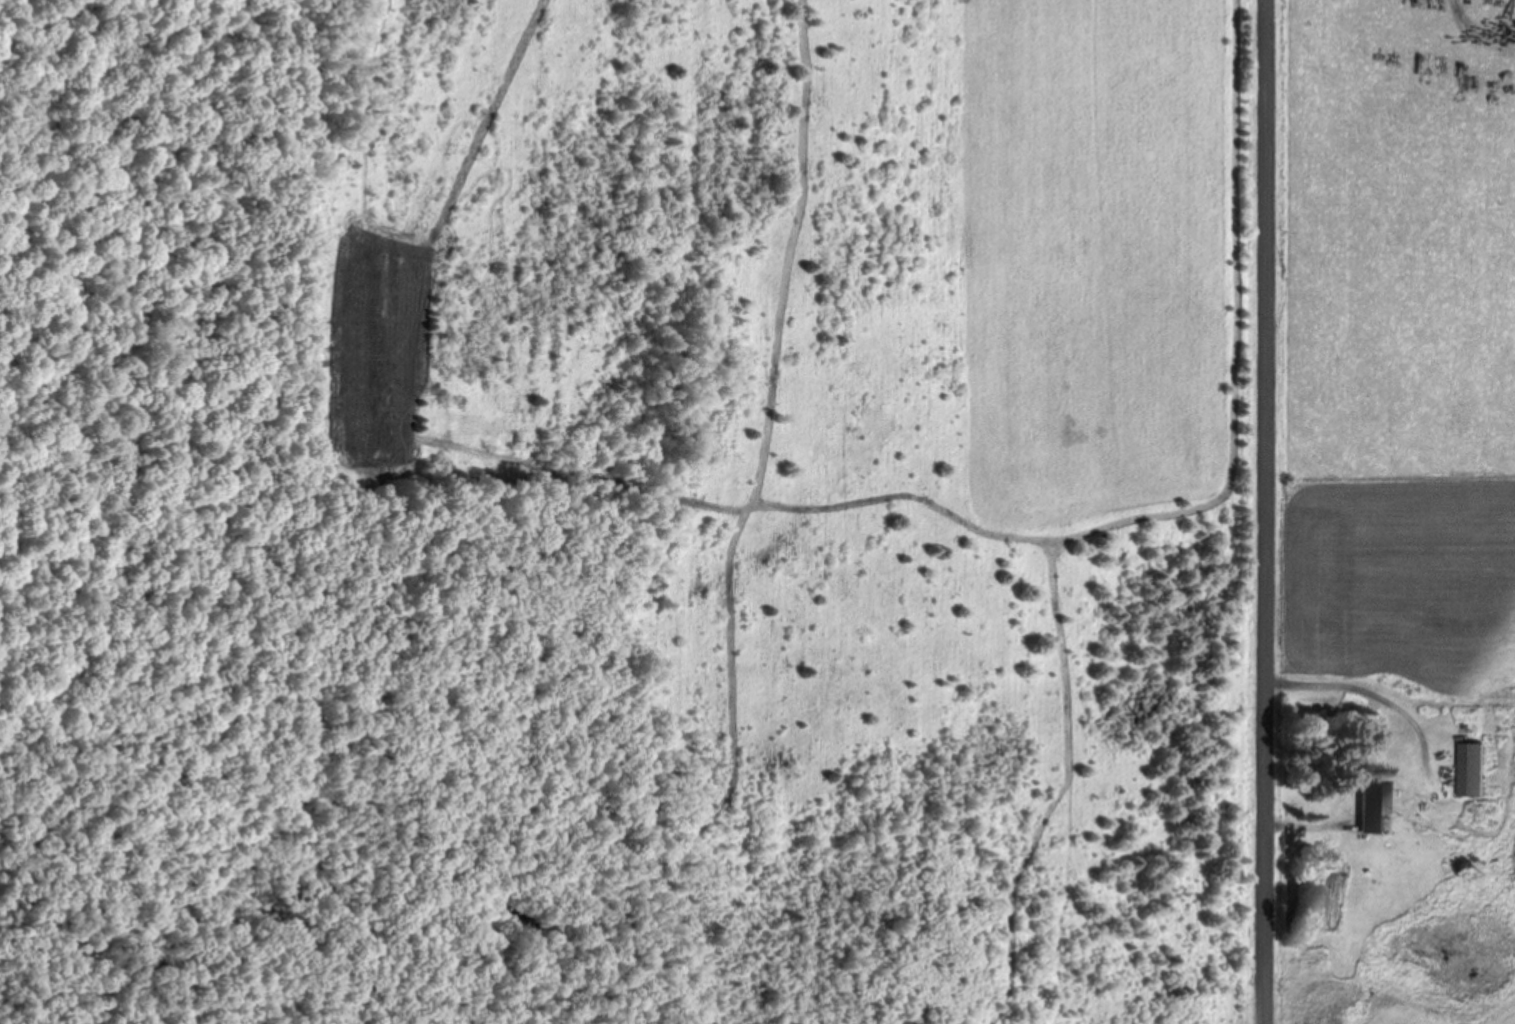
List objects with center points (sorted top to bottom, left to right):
road: (1273, 512)
building: (1473, 770)
building: (1376, 808)

